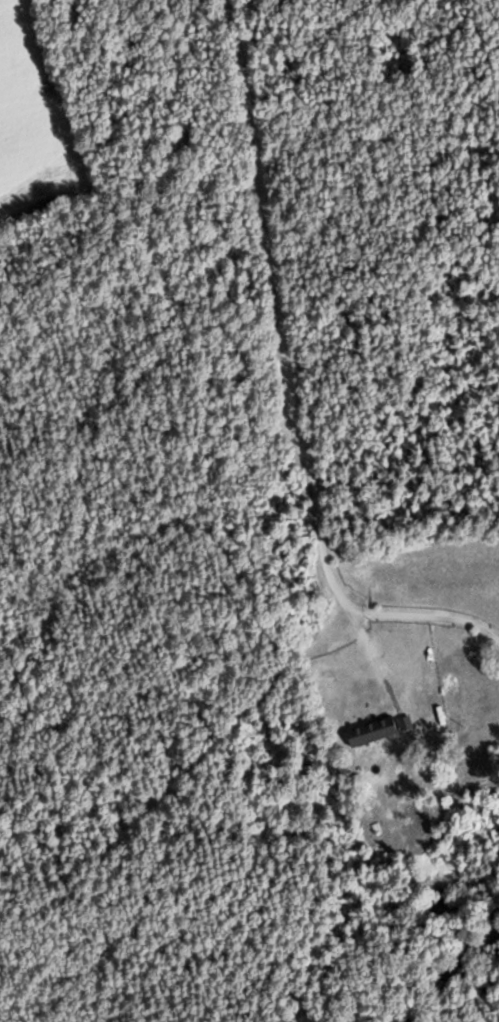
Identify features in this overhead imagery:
building: (371, 731)

